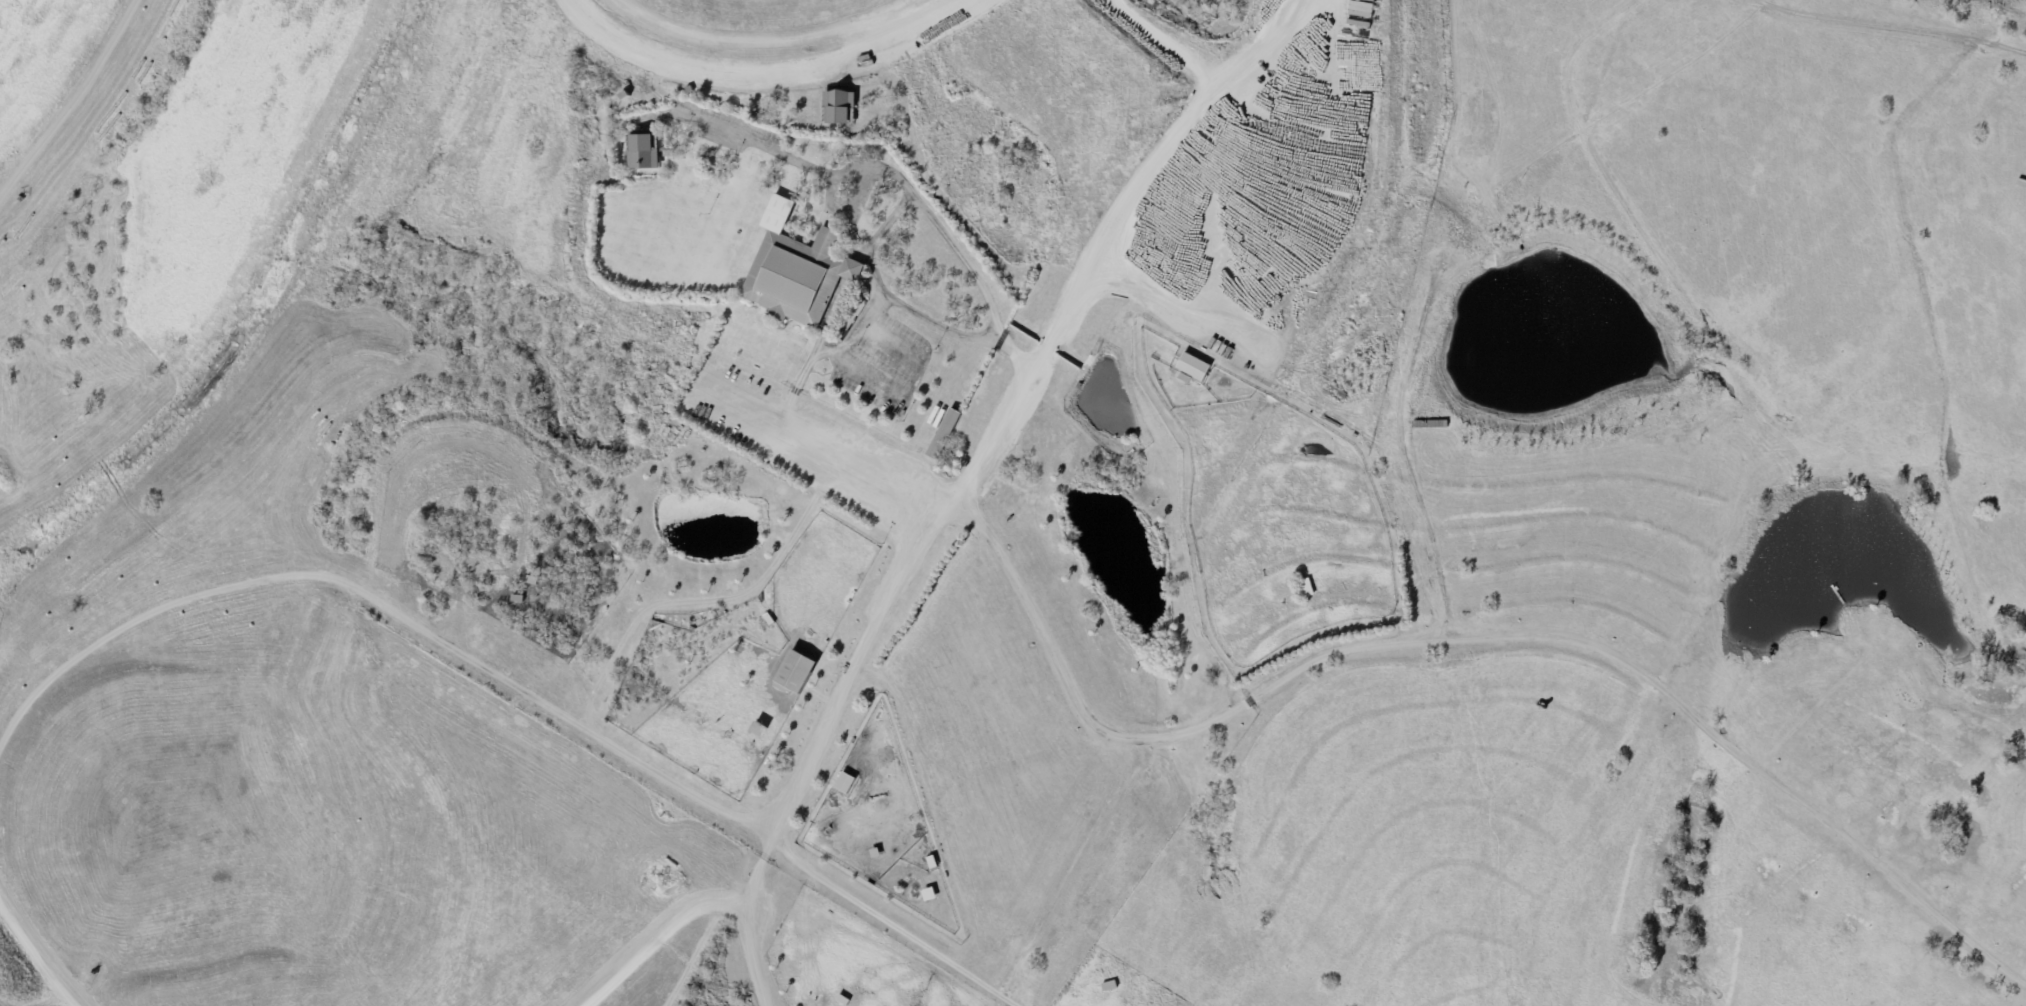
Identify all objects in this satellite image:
building: (1360, 12)
road: (1919, 23)
building: (1278, 43)
building: (1213, 86)
building: (844, 107)
building: (647, 154)
road: (883, 170)
road: (846, 208)
building: (800, 271)
building: (1955, 285)
road: (872, 309)
road: (934, 323)
building: (1193, 368)
building: (1429, 425)
road: (805, 434)
building: (947, 434)
road: (764, 566)
building: (1304, 589)
road: (382, 607)
building: (799, 675)
road: (1204, 723)
road: (817, 735)
building: (845, 783)
building: (872, 853)
road: (906, 918)
road: (650, 931)
road: (40, 954)
building: (841, 1000)
road: (2019, 1004)

